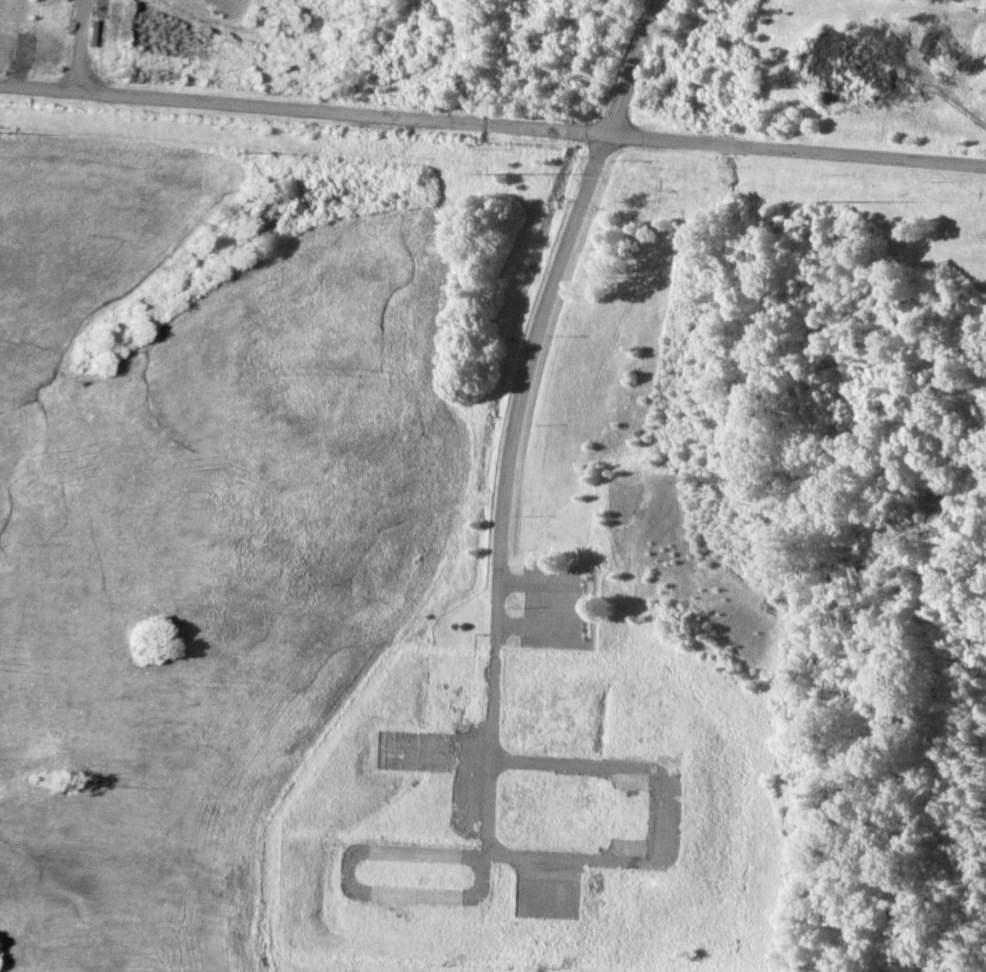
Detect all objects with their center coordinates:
road: (83, 45)
road: (466, 60)
road: (493, 122)
road: (526, 368)
road: (661, 858)

